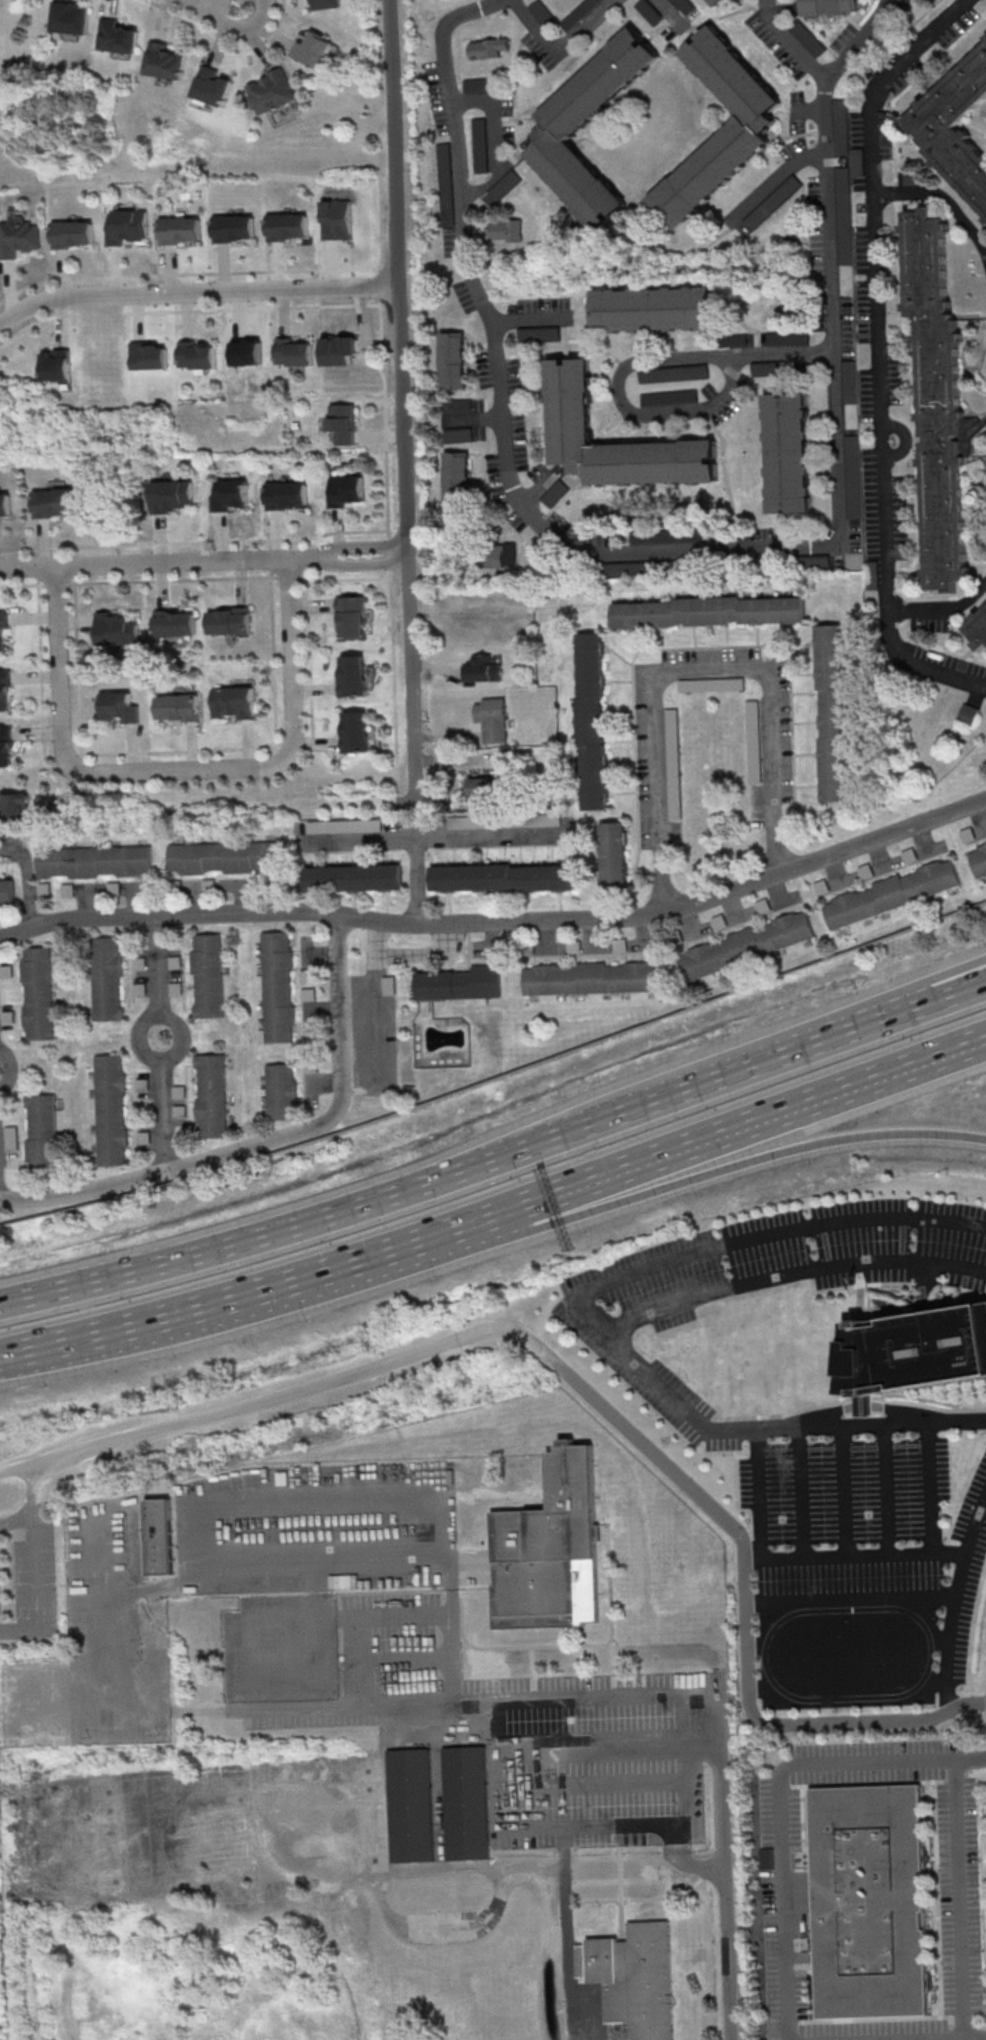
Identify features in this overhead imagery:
building: (718, 2)
building: (325, 4)
building: (683, 6)
building: (829, 6)
road: (219, 7)
building: (598, 7)
road: (169, 10)
building: (651, 10)
road: (669, 11)
building: (70, 17)
building: (117, 36)
road: (794, 41)
road: (562, 46)
building: (487, 47)
building: (312, 49)
building: (165, 61)
building: (477, 84)
building: (212, 86)
building: (272, 91)
building: (955, 123)
building: (748, 127)
building: (559, 128)
road: (973, 129)
road: (497, 140)
road: (893, 144)
building: (479, 145)
road: (774, 181)
building: (844, 215)
building: (337, 219)
building: (127, 225)
building: (287, 225)
building: (234, 227)
building: (180, 229)
building: (506, 229)
building: (73, 233)
building: (18, 236)
road: (154, 274)
road: (198, 294)
road: (63, 296)
road: (294, 306)
building: (654, 308)
road: (196, 309)
road: (285, 311)
road: (187, 315)
road: (904, 317)
road: (529, 321)
road: (33, 322)
building: (787, 337)
building: (339, 349)
building: (247, 352)
building: (294, 352)
road: (877, 354)
building: (150, 355)
building: (198, 356)
building: (453, 360)
building: (57, 365)
road: (635, 366)
building: (764, 367)
building: (673, 373)
building: (938, 393)
road: (406, 396)
building: (669, 397)
building: (570, 399)
building: (469, 419)
building: (342, 422)
building: (788, 452)
road: (387, 473)
building: (457, 473)
building: (853, 476)
building: (346, 490)
building: (172, 494)
building: (230, 494)
building: (287, 494)
building: (5, 504)
road: (917, 519)
road: (194, 542)
road: (684, 551)
road: (389, 552)
building: (495, 555)
road: (206, 564)
road: (287, 576)
road: (172, 579)
road: (344, 579)
road: (56, 583)
road: (22, 584)
building: (707, 611)
building: (352, 615)
building: (229, 621)
building: (176, 623)
building: (976, 625)
building: (3, 626)
building: (117, 629)
road: (310, 656)
road: (274, 660)
road: (393, 664)
road: (77, 666)
building: (485, 667)
road: (695, 669)
building: (354, 674)
building: (5, 690)
road: (42, 696)
building: (234, 701)
building: (179, 703)
building: (120, 706)
building: (834, 712)
building: (968, 713)
building: (492, 718)
building: (592, 720)
building: (356, 731)
building: (5, 746)
road: (181, 749)
road: (179, 771)
building: (483, 786)
building: (15, 806)
building: (346, 825)
road: (483, 834)
road: (360, 839)
building: (614, 853)
building: (225, 856)
building: (978, 856)
building: (94, 860)
building: (353, 877)
building: (503, 877)
road: (27, 878)
road: (417, 880)
building: (7, 891)
building: (893, 892)
road: (670, 911)
road: (167, 915)
building: (746, 944)
road: (404, 956)
building: (208, 975)
building: (593, 977)
building: (107, 978)
building: (460, 983)
building: (277, 986)
building: (38, 993)
road: (948, 997)
road: (375, 1019)
road: (843, 1034)
road: (758, 1043)
road: (162, 1044)
building: (281, 1091)
building: (211, 1095)
building: (111, 1109)
building: (42, 1132)
road: (266, 1141)
road: (664, 1154)
road: (392, 1194)
road: (492, 1243)
road: (791, 1272)
road: (591, 1288)
road: (192, 1310)
building: (914, 1350)
road: (20, 1352)
road: (585, 1393)
road: (871, 1426)
park: (212, 1446)
road: (33, 1489)
road: (928, 1490)
road: (843, 1491)
road: (887, 1491)
road: (801, 1493)
road: (17, 1519)
road: (975, 1529)
building: (159, 1536)
building: (549, 1549)
road: (941, 1554)
parking lot: (27, 1575)
road: (35, 1590)
road: (985, 1701)
road: (495, 1749)
building: (465, 1802)
road: (778, 1803)
building: (410, 1804)
road: (565, 1885)
road: (959, 1897)
building: (870, 1900)
road: (730, 1929)
park: (2, 1961)
building: (632, 1977)
road: (928, 2037)

